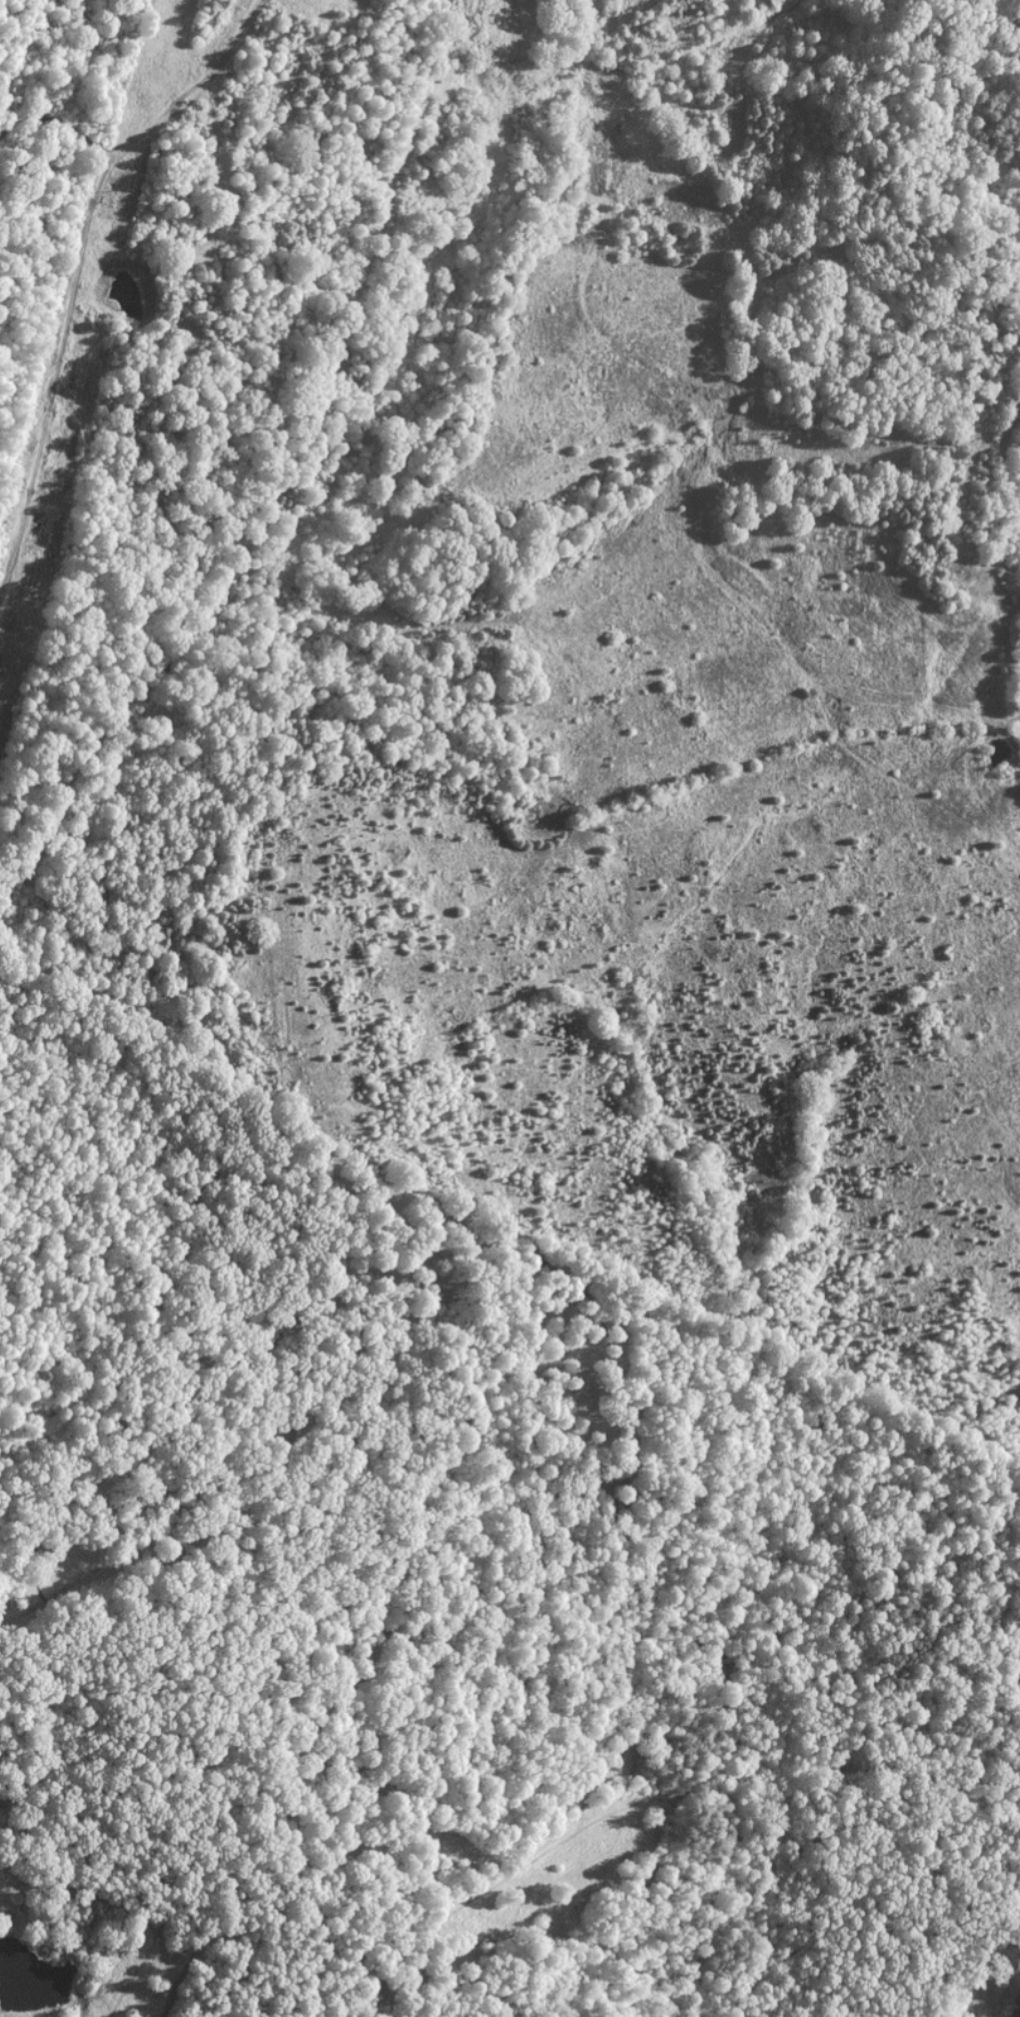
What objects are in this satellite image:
road: (33, 1630)

